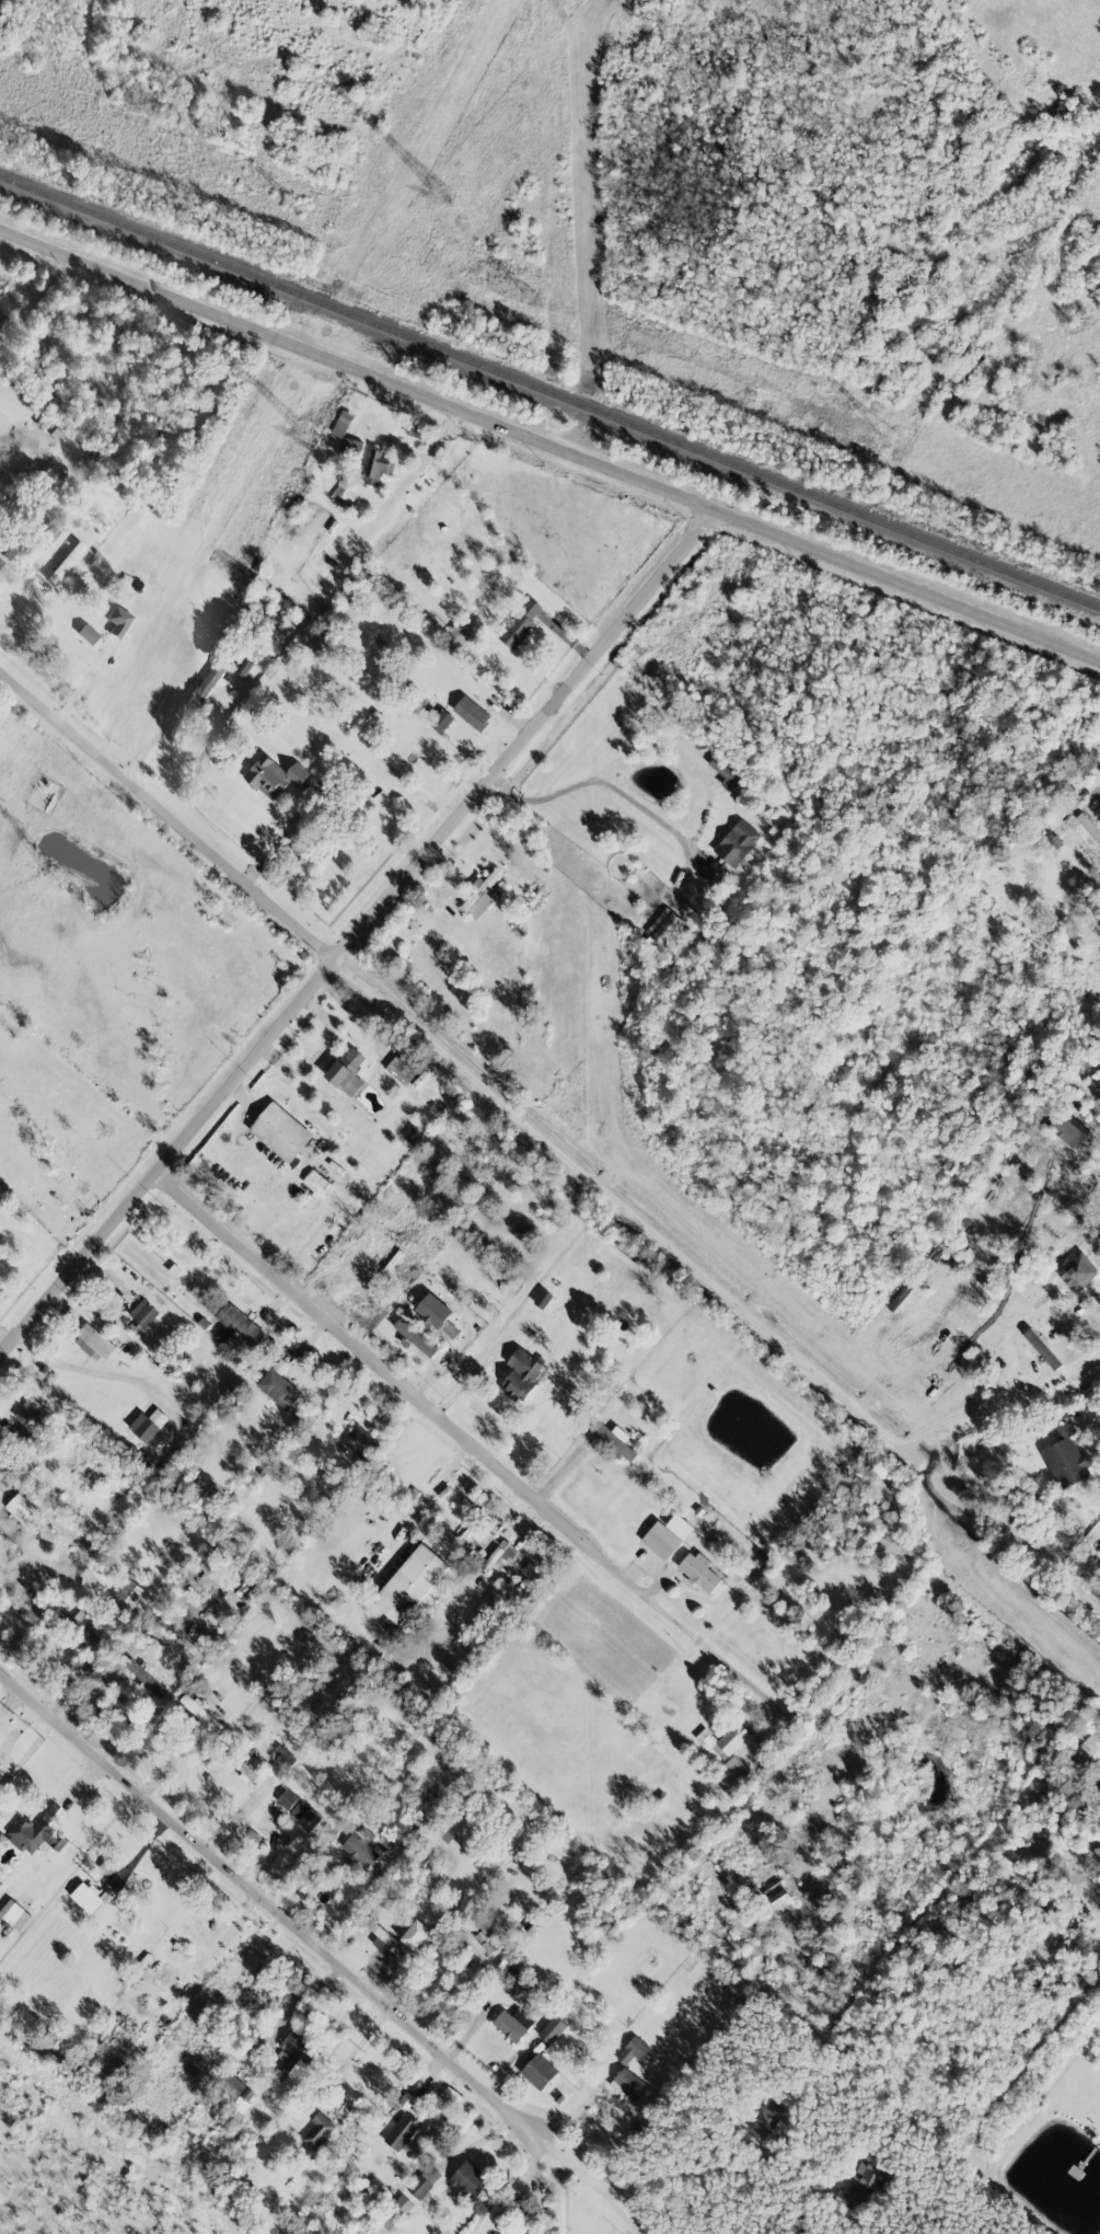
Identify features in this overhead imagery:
power tower: (444, 194)
power tower: (286, 201)
power tower: (525, 297)
road: (362, 368)
railway: (549, 391)
building: (341, 424)
building: (418, 431)
power tower: (306, 435)
power tower: (884, 438)
building: (377, 468)
road: (406, 480)
building: (66, 563)
road: (912, 584)
road: (14, 587)
building: (30, 597)
building: (118, 620)
building: (519, 624)
building: (88, 633)
building: (453, 636)
road: (79, 681)
building: (472, 713)
building: (441, 721)
road: (151, 739)
road: (683, 756)
building: (274, 776)
road: (1097, 778)
road: (616, 794)
road: (173, 820)
building: (1088, 827)
road: (280, 837)
building: (736, 842)
power tower: (55, 876)
building: (716, 877)
building: (479, 896)
building: (662, 931)
road: (368, 937)
building: (402, 1068)
building: (346, 1072)
building: (279, 1132)
building: (315, 1182)
road: (676, 1262)
building: (1045, 1296)
building: (542, 1298)
building: (142, 1313)
building: (236, 1327)
building: (448, 1329)
building: (416, 1339)
building: (95, 1340)
building: (1041, 1348)
road: (91, 1370)
building: (521, 1374)
building: (278, 1389)
building: (28, 1412)
building: (148, 1424)
road: (453, 1431)
building: (613, 1439)
building: (359, 1442)
building: (1066, 1458)
road: (445, 1470)
building: (21, 1508)
building: (667, 1535)
building: (472, 1536)
building: (1098, 1551)
building: (499, 1555)
building: (696, 1569)
building: (409, 1584)
building: (126, 1593)
building: (199, 1713)
building: (723, 1740)
building: (1089, 1748)
building: (281, 1757)
building: (242, 1766)
building: (737, 1770)
building: (1099, 1799)
building: (298, 1809)
building: (38, 1831)
building: (359, 1851)
building: (106, 1867)
building: (85, 1898)
building: (779, 1898)
road: (268, 1901)
building: (14, 1914)
building: (415, 1934)
building: (385, 1939)
building: (473, 1942)
building: (512, 2024)
building: (552, 2029)
building: (294, 2050)
building: (632, 2050)
building: (537, 2071)
building: (627, 2084)
building: (232, 2086)
building: (406, 2100)
building: (761, 2120)
building: (317, 2130)
building: (401, 2132)
road: (721, 2174)
building: (470, 2179)
building: (865, 2180)
building: (422, 2181)
road: (586, 2184)
road: (510, 2186)
building: (395, 2212)

